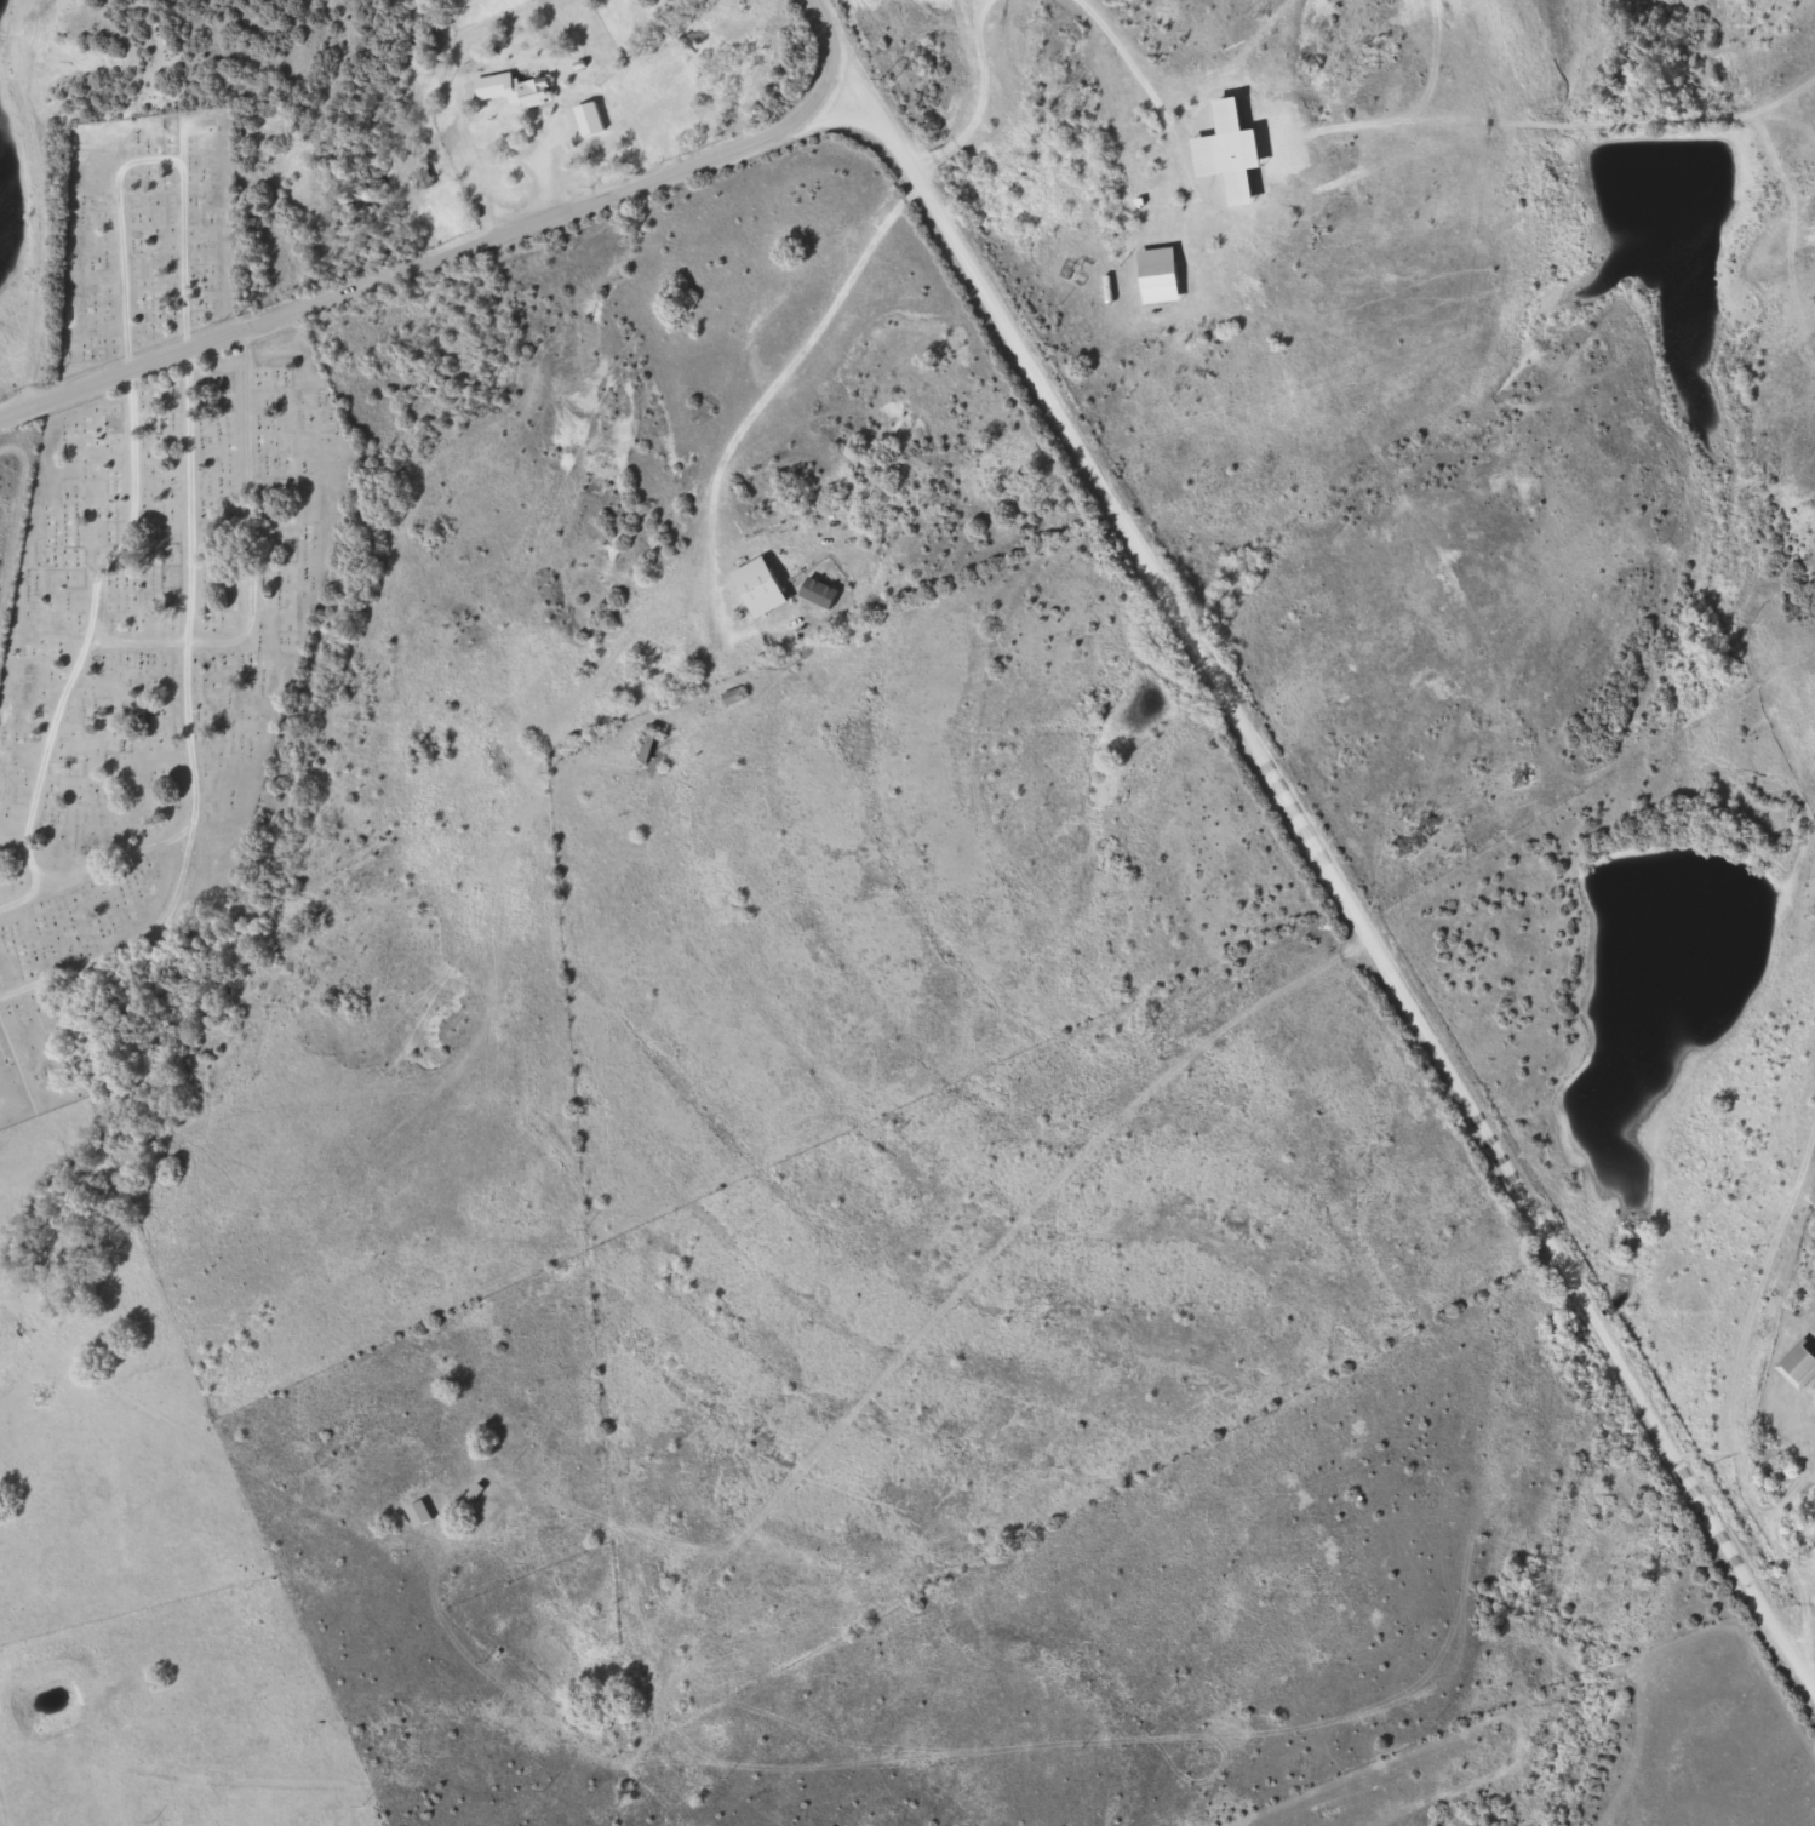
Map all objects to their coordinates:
road: (848, 47)
building: (516, 81)
building: (1231, 153)
building: (419, 176)
road: (439, 256)
park: (150, 574)
building: (757, 582)
building: (815, 590)
building: (642, 745)
road: (1346, 887)
building: (1796, 1362)
building: (414, 1511)

